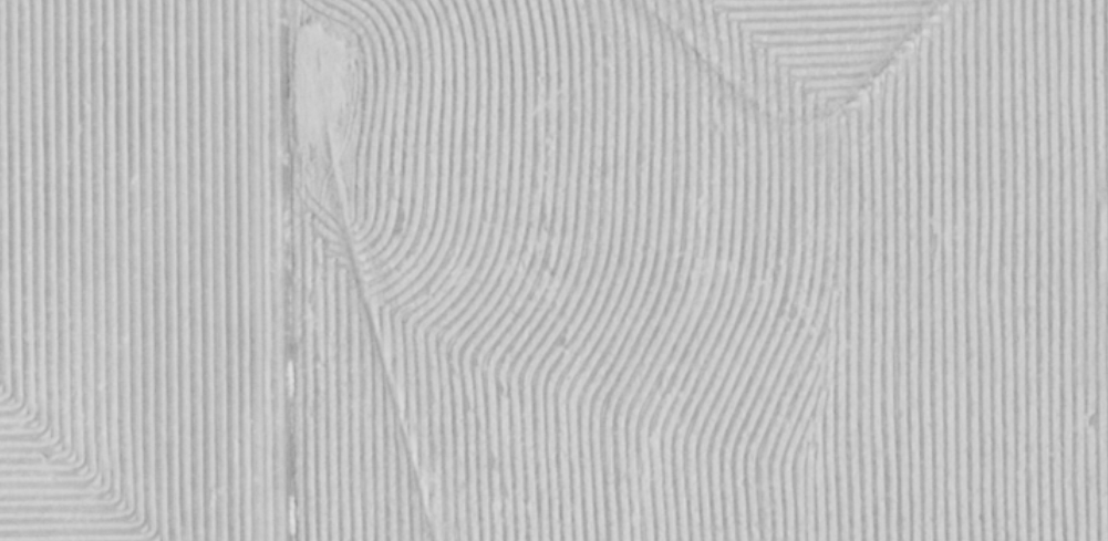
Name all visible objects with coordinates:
crop: (553, 270)

